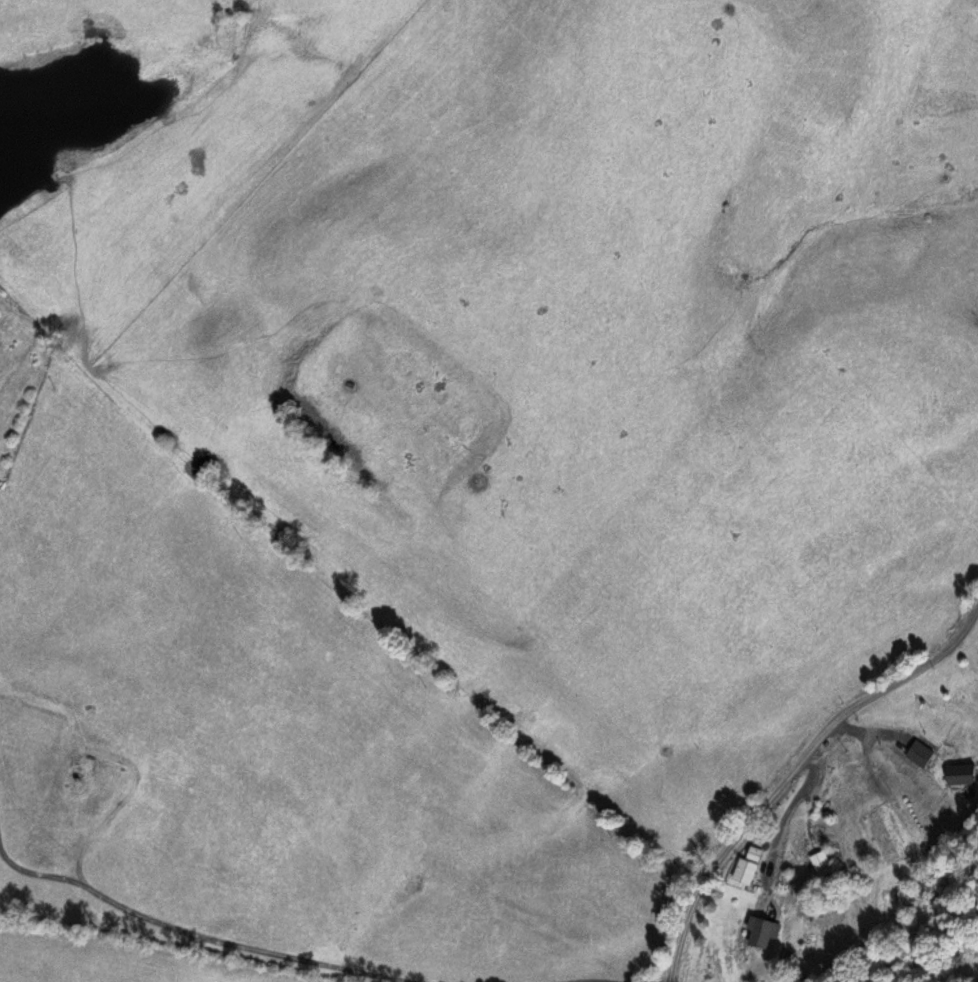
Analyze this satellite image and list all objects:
road: (197, 279)
road: (23, 694)
road: (808, 774)
building: (961, 777)
road: (68, 808)
building: (748, 867)
building: (763, 934)

